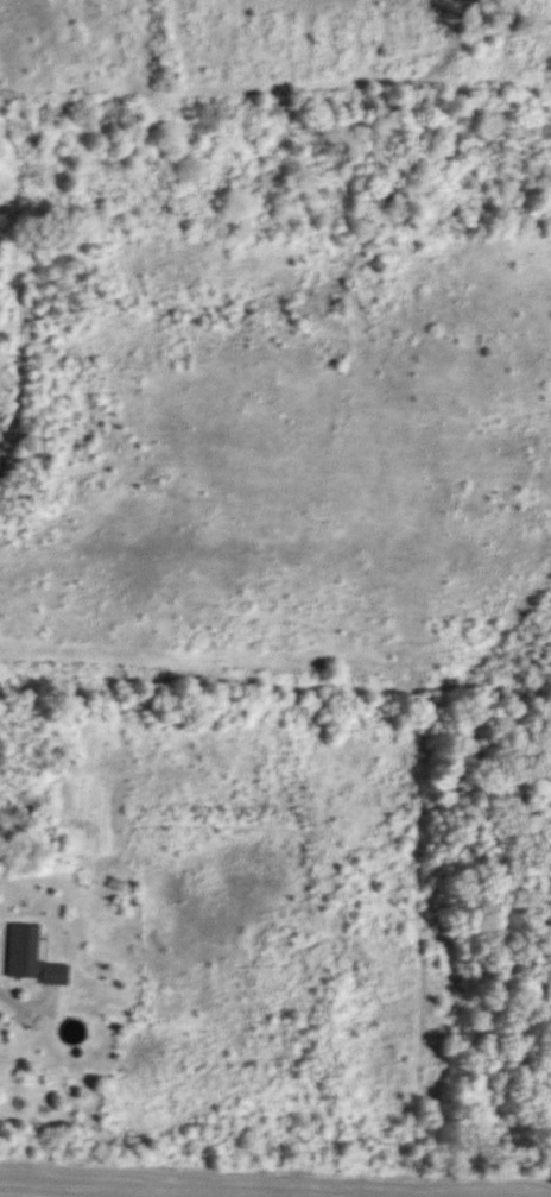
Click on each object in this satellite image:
building: (32, 957)
road: (27, 1009)

